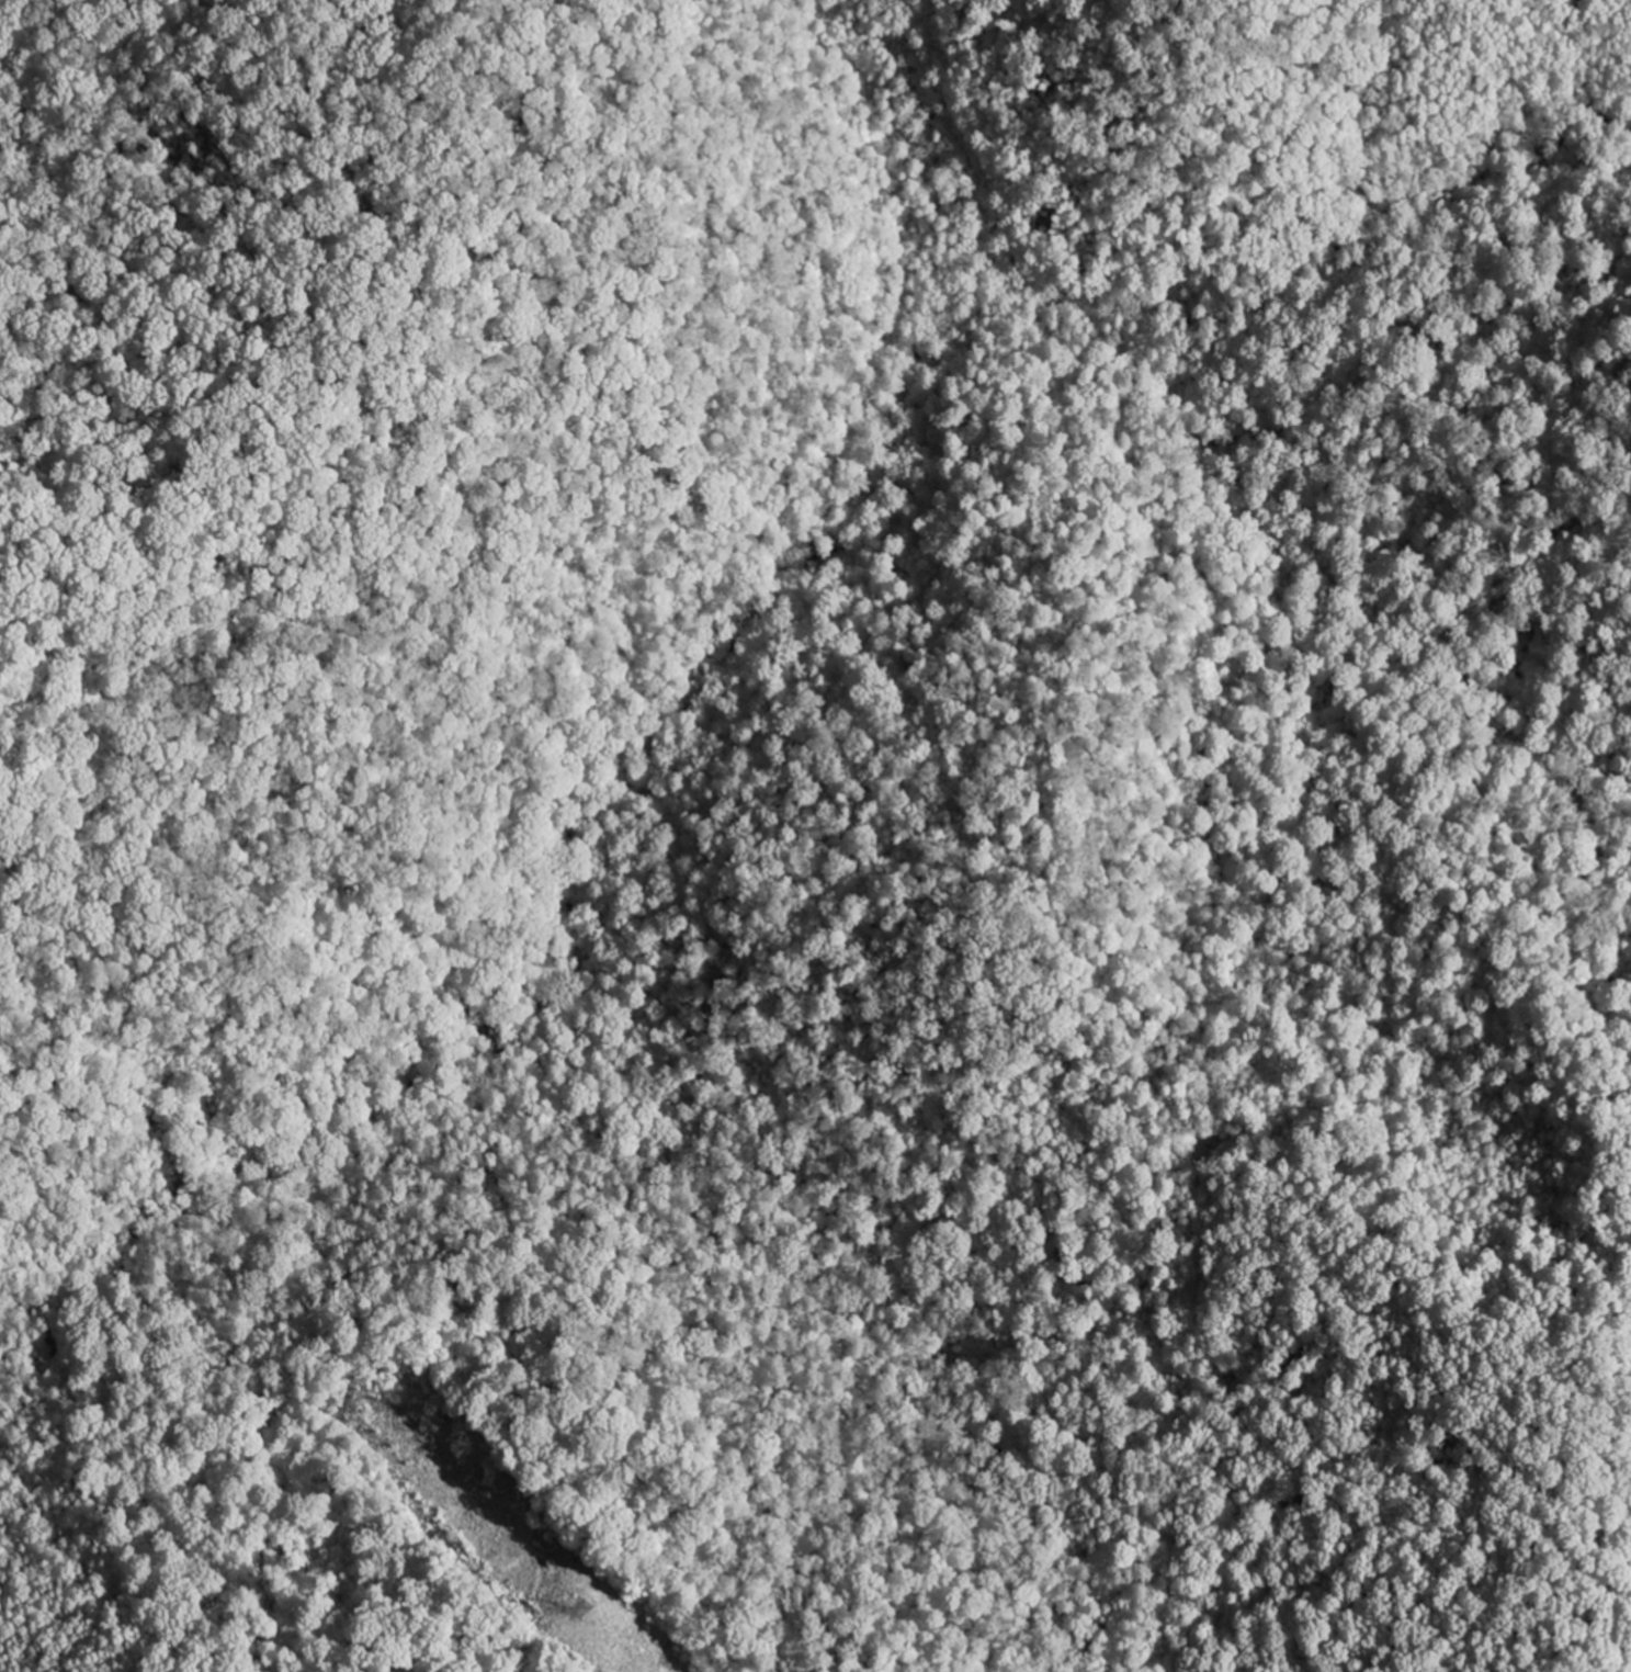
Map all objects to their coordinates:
power tower: (577, 1612)

